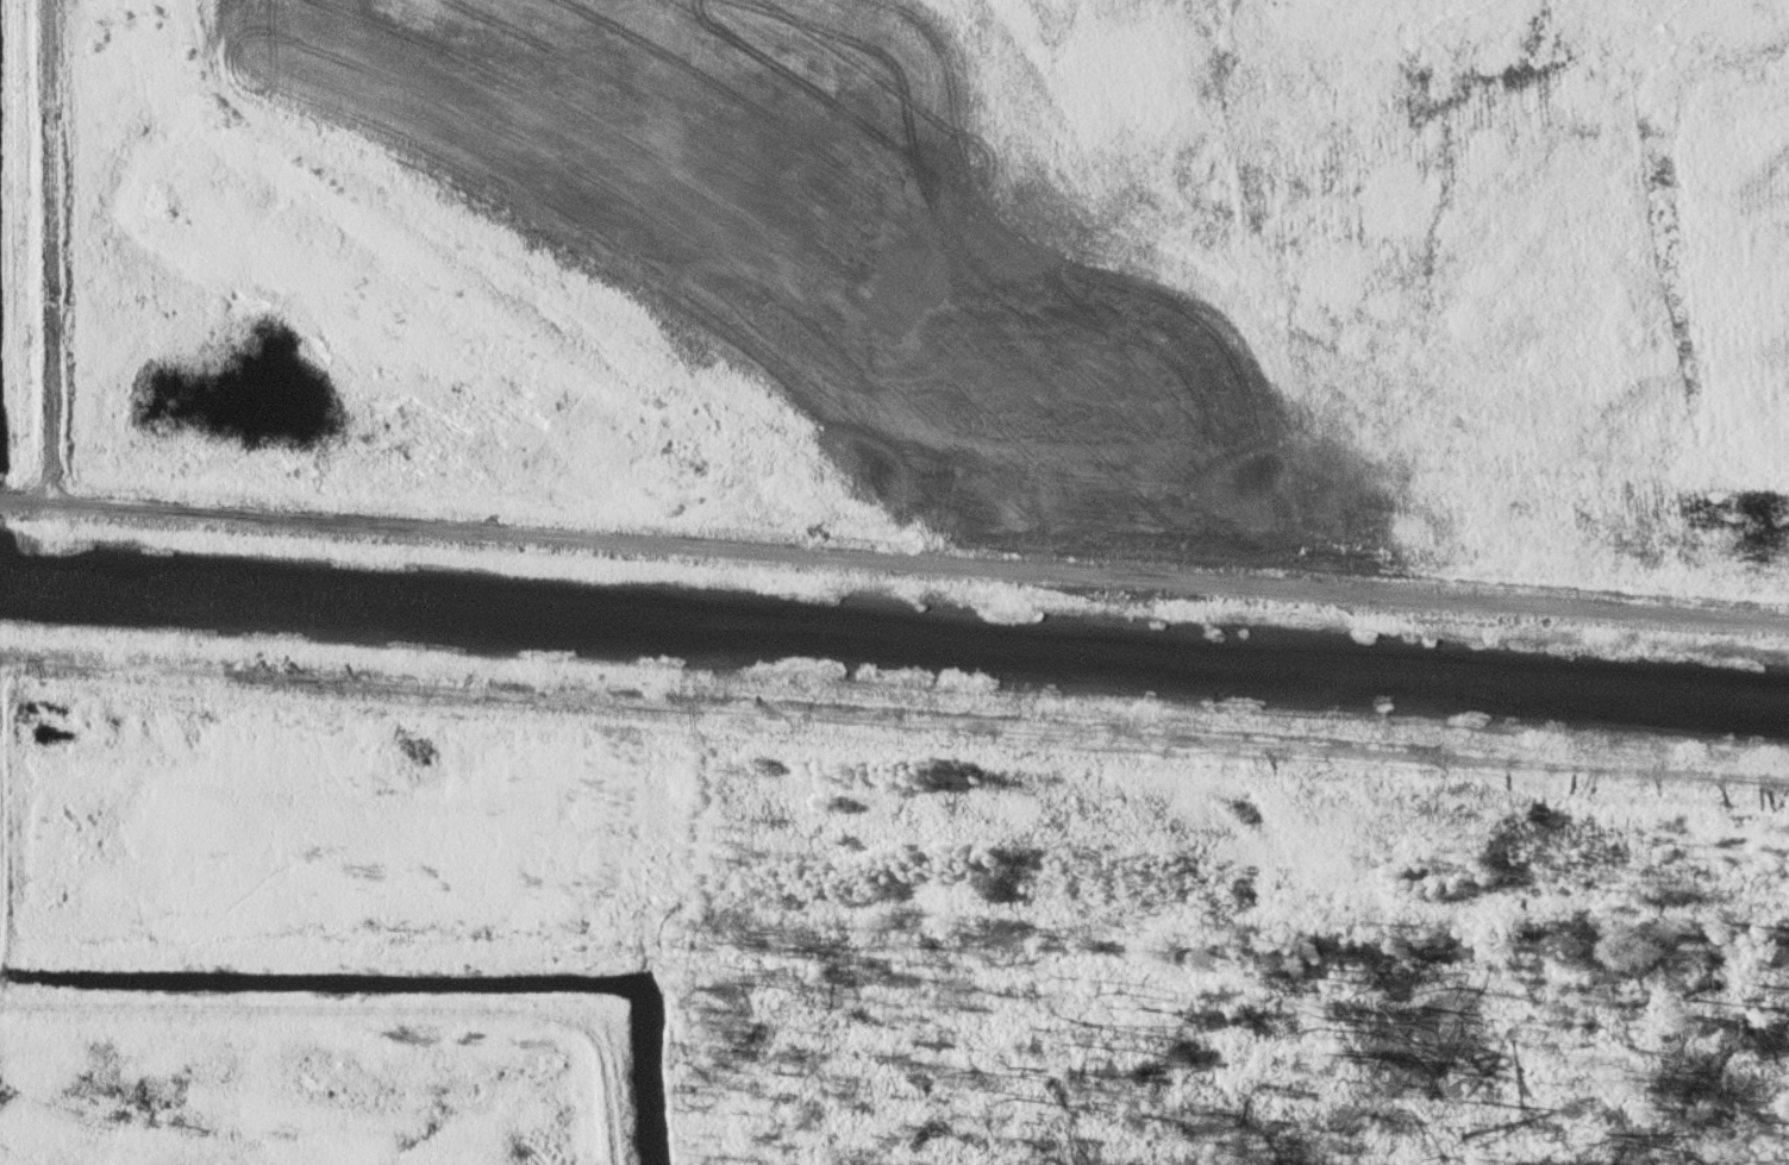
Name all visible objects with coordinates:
road: (51, 252)
road: (894, 562)

